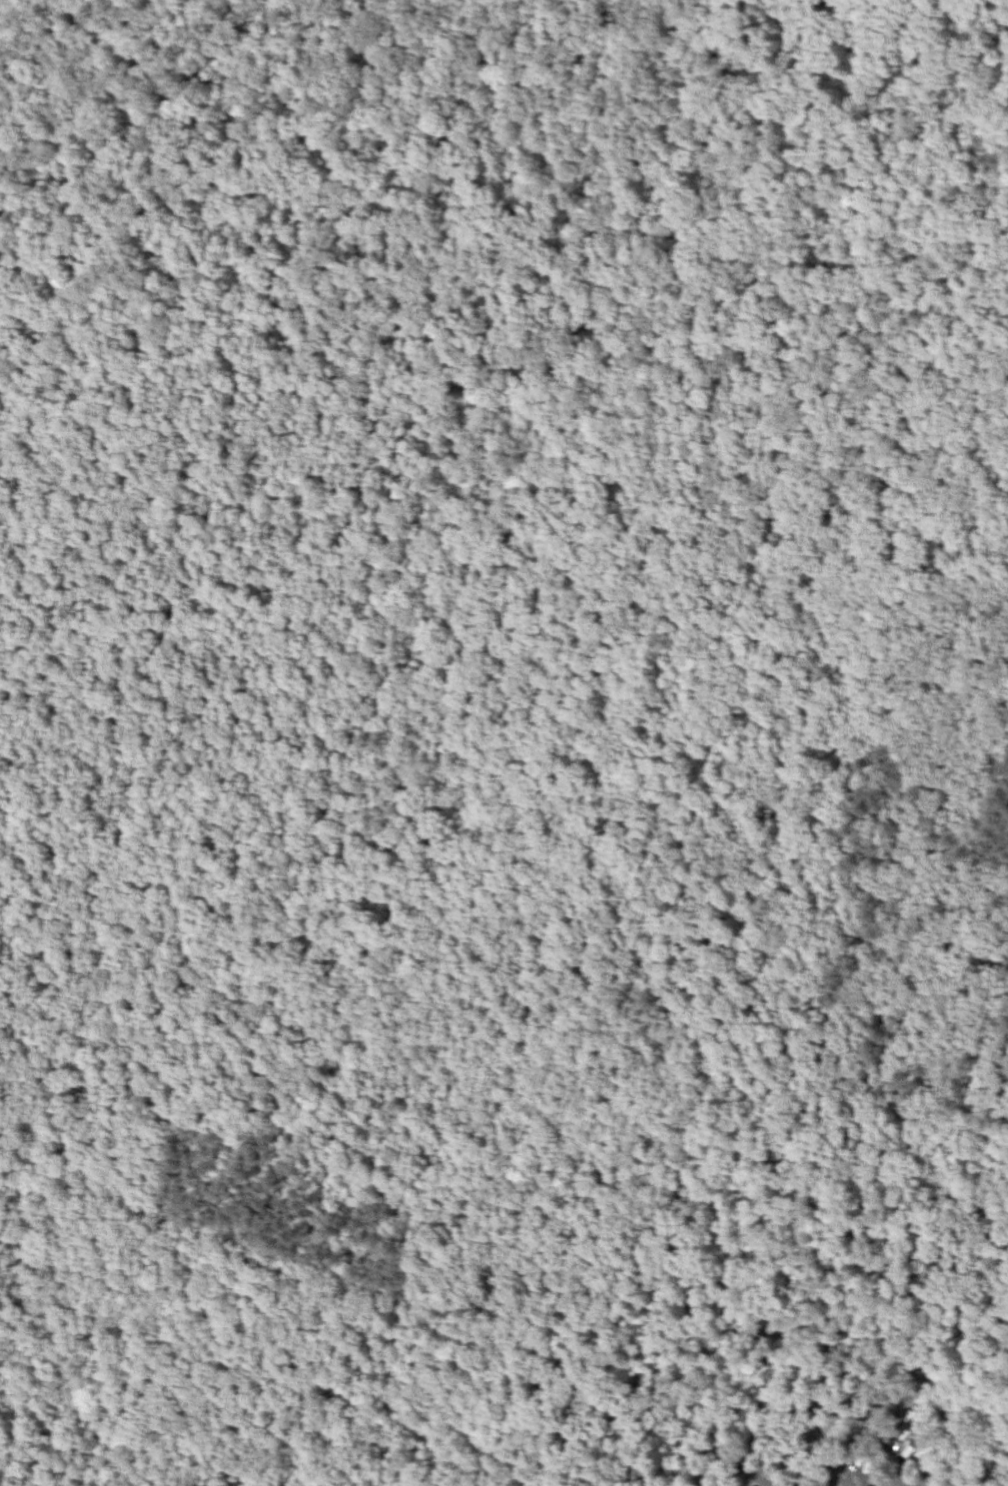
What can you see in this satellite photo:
road: (839, 1465)

